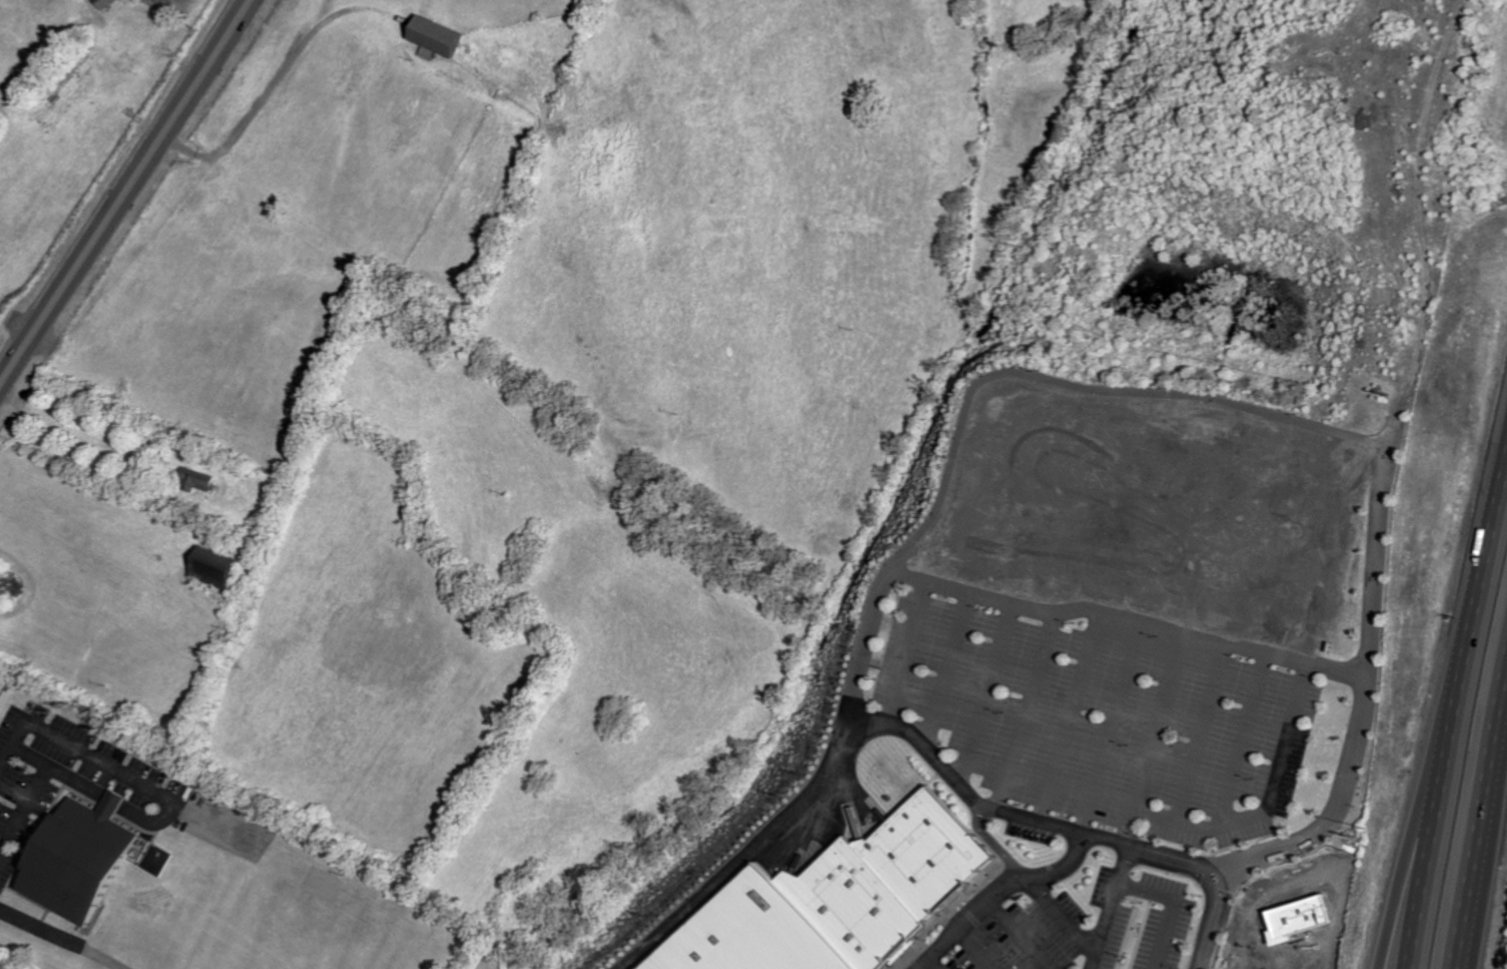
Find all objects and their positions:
building: (107, 3)
building: (441, 39)
road: (126, 195)
road: (1007, 374)
road: (1395, 416)
building: (202, 478)
road: (1495, 517)
building: (218, 566)
road: (1130, 617)
road: (914, 655)
road: (953, 674)
road: (1364, 692)
road: (992, 694)
road: (1028, 710)
road: (1069, 716)
road: (1109, 727)
road: (1197, 734)
road: (1239, 739)
road: (30, 754)
road: (108, 763)
road: (1427, 768)
road: (1443, 768)
road: (40, 779)
road: (1262, 798)
road: (113, 799)
road: (1140, 802)
building: (111, 803)
road: (1023, 817)
road: (1478, 824)
road: (758, 851)
building: (78, 860)
building: (897, 879)
road: (1002, 897)
road: (1172, 905)
road: (1064, 916)
road: (1210, 921)
building: (759, 932)
road: (1025, 935)
road: (65, 938)
road: (985, 949)
road: (941, 962)

